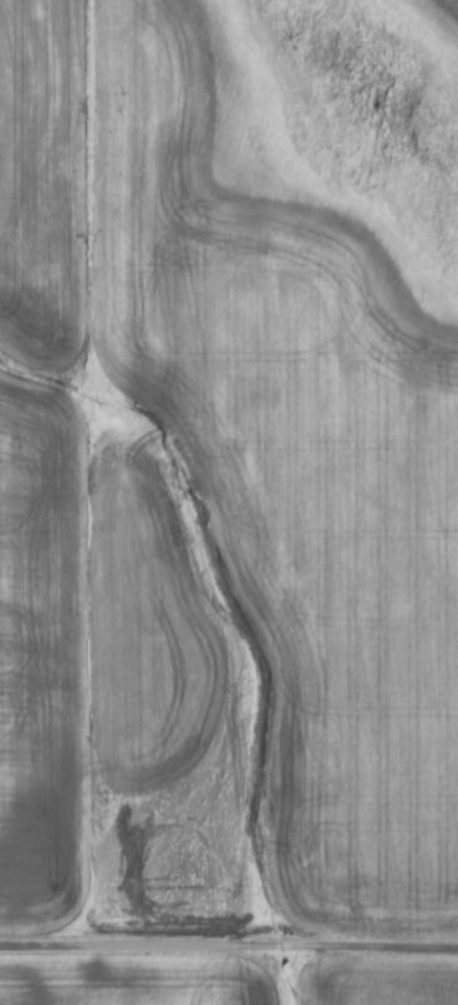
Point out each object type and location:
road: (229, 952)

